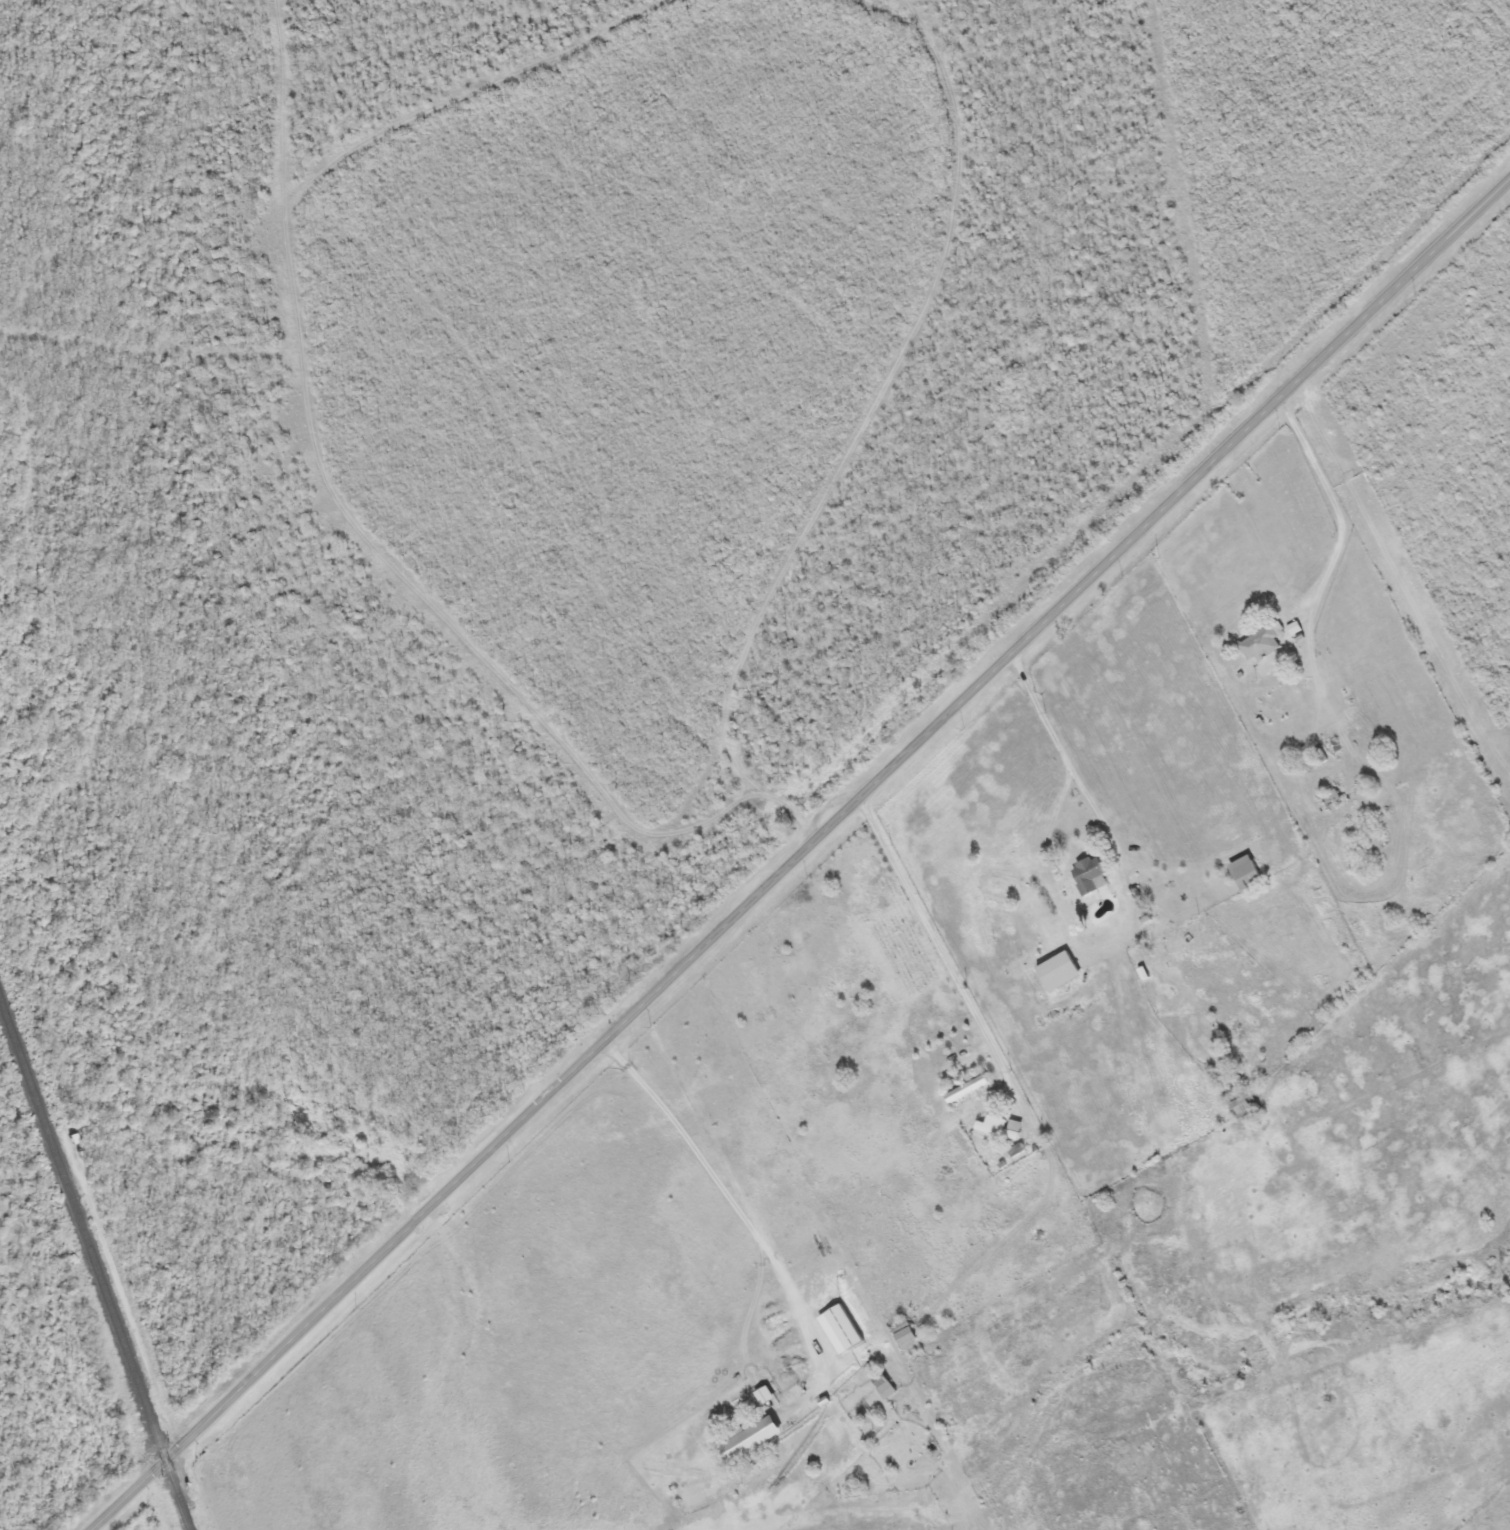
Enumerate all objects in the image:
road: (831, 449)
building: (1260, 643)
building: (1331, 794)
road: (798, 851)
building: (1247, 873)
building: (1087, 875)
building: (1001, 886)
building: (1059, 969)
road: (968, 992)
building: (968, 1089)
building: (1241, 1105)
building: (1004, 1126)
road: (733, 1214)
railway: (93, 1266)
building: (908, 1337)
building: (885, 1386)
building: (747, 1441)

